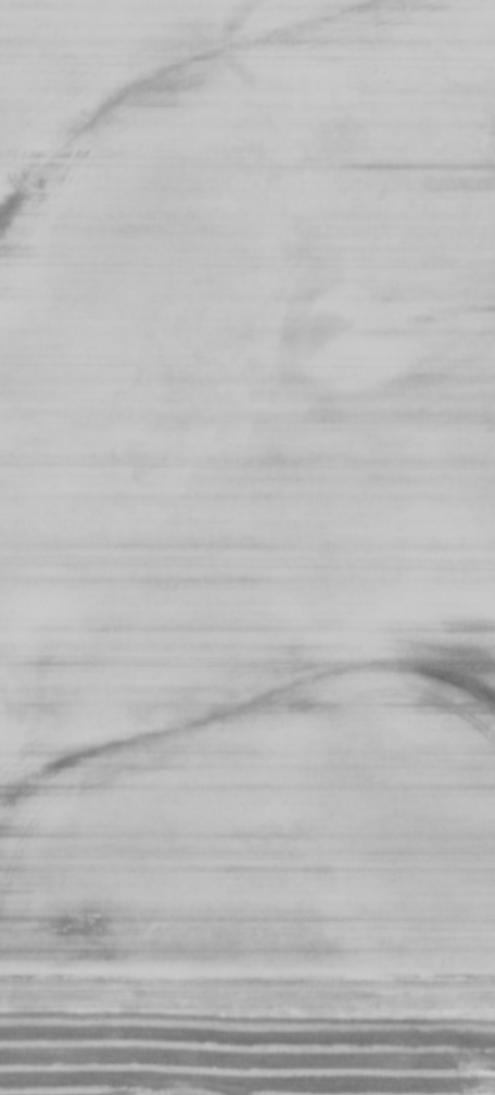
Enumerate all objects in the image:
road: (247, 995)

